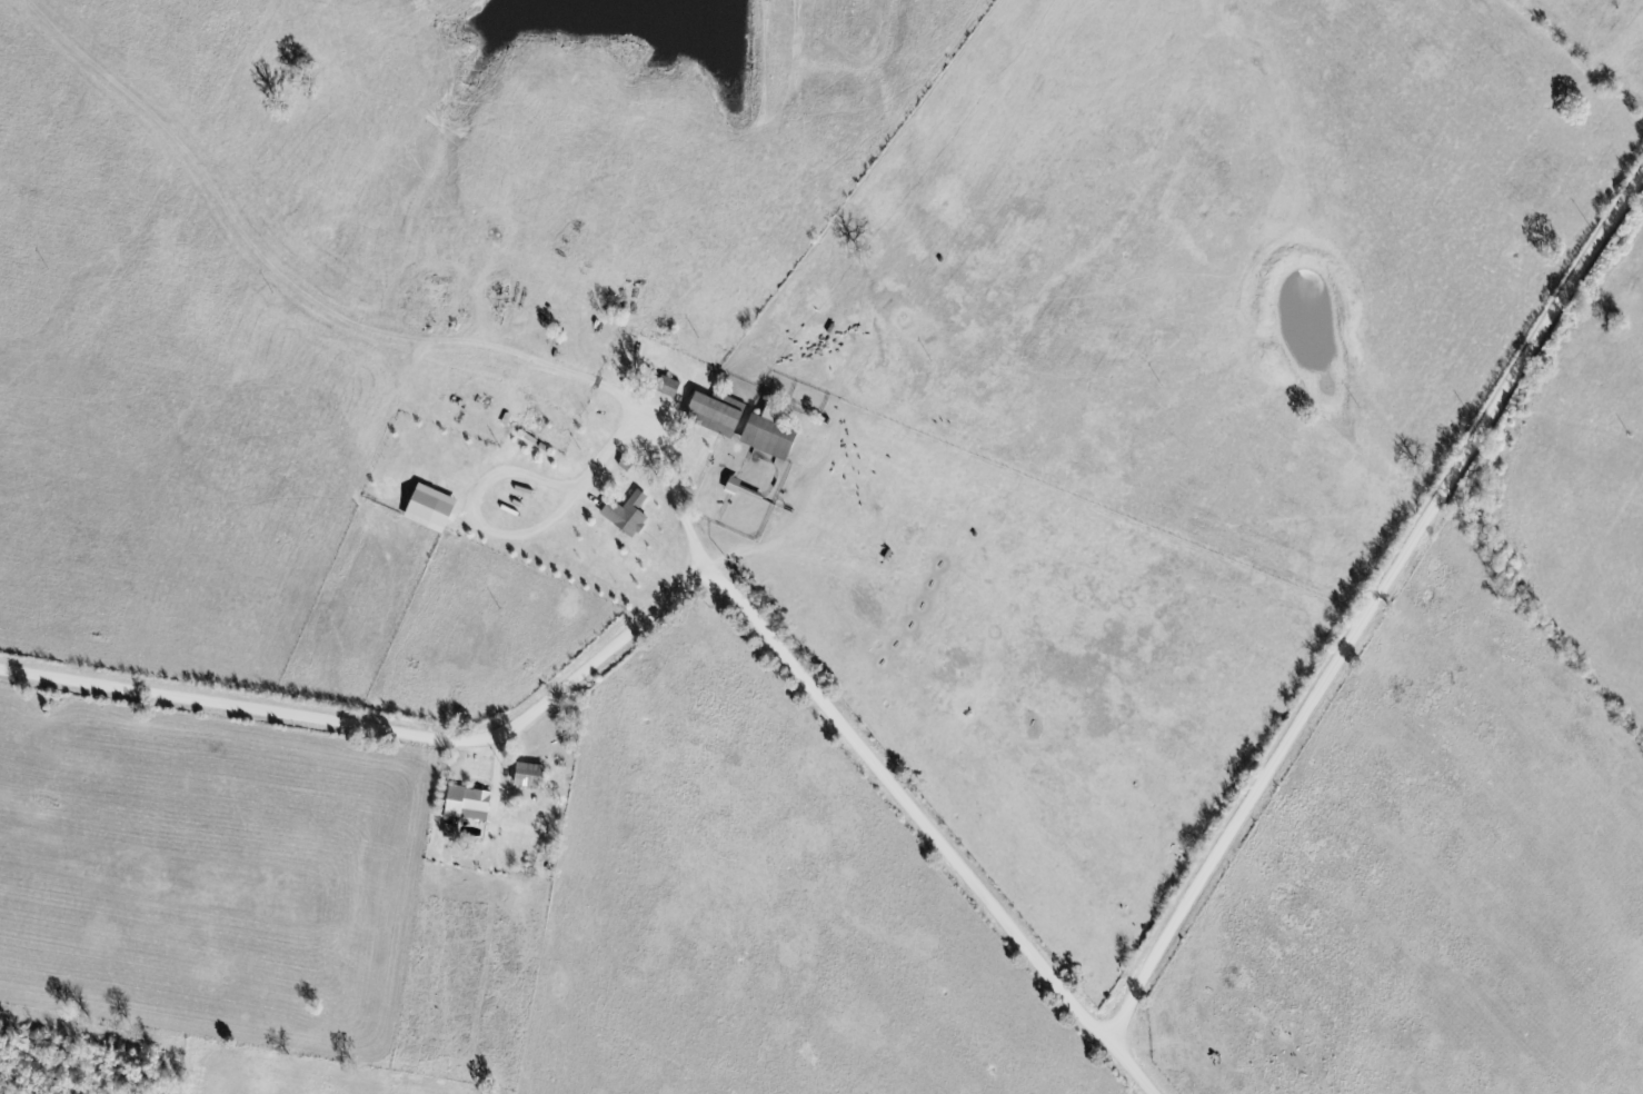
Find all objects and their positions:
building: (671, 388)
building: (719, 416)
building: (738, 488)
building: (437, 511)
building: (631, 516)
road: (676, 590)
road: (1374, 605)
building: (536, 778)
building: (472, 805)

